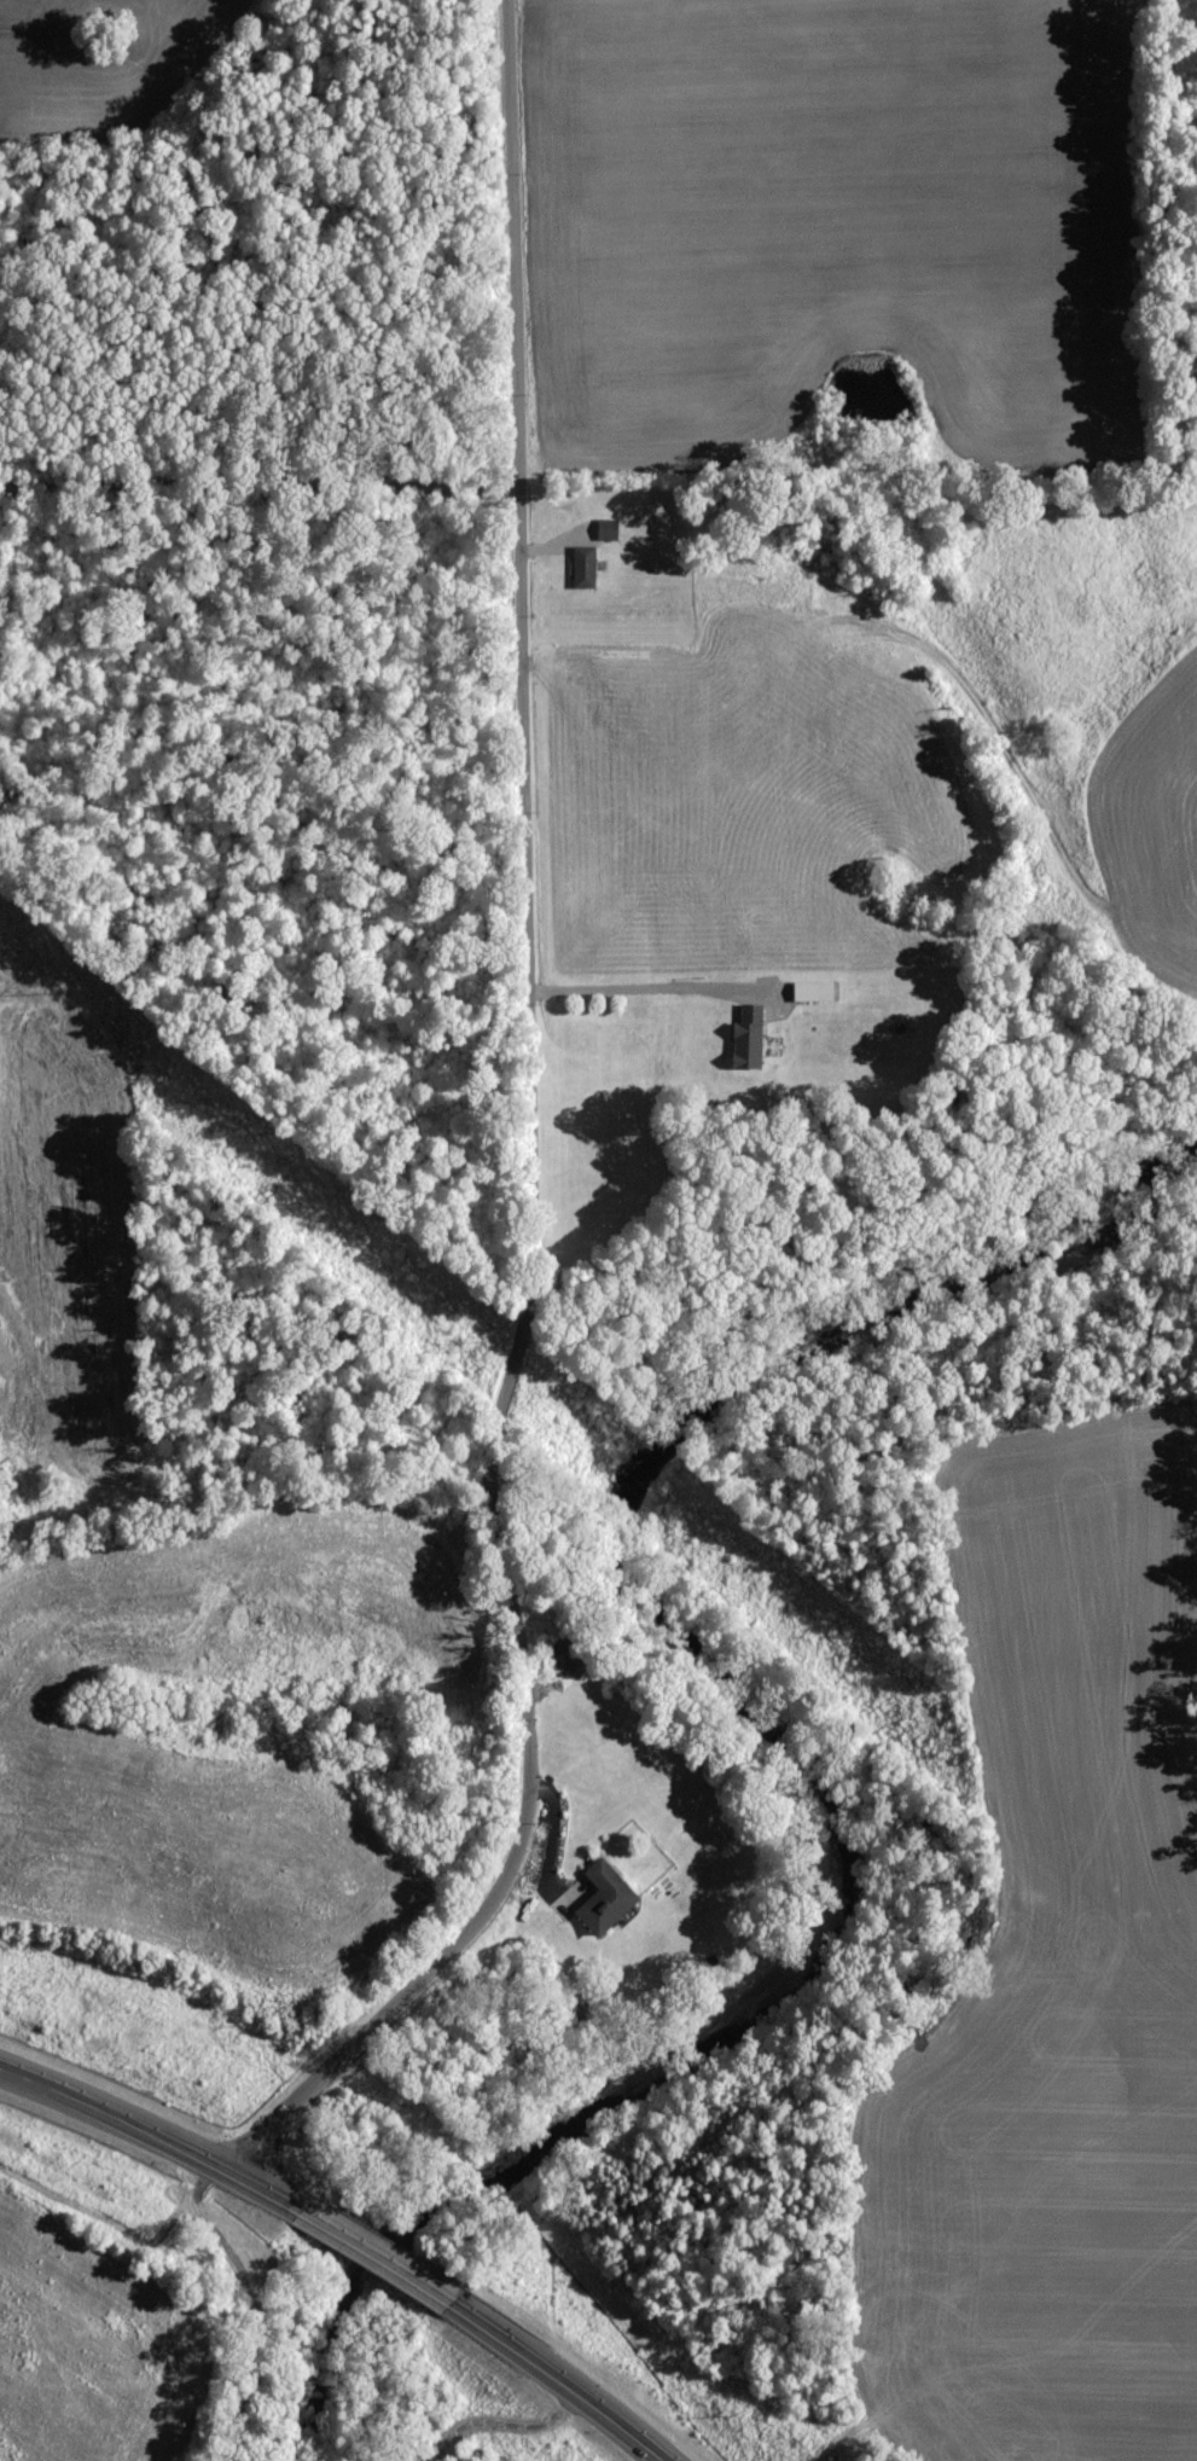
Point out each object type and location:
road: (257, 487)
building: (609, 529)
building: (585, 568)
road: (652, 987)
building: (814, 989)
building: (749, 1037)
road: (528, 1143)
river: (765, 1725)
road: (157, 2125)
road: (380, 2251)
road: (260, 2300)
road: (562, 2376)

